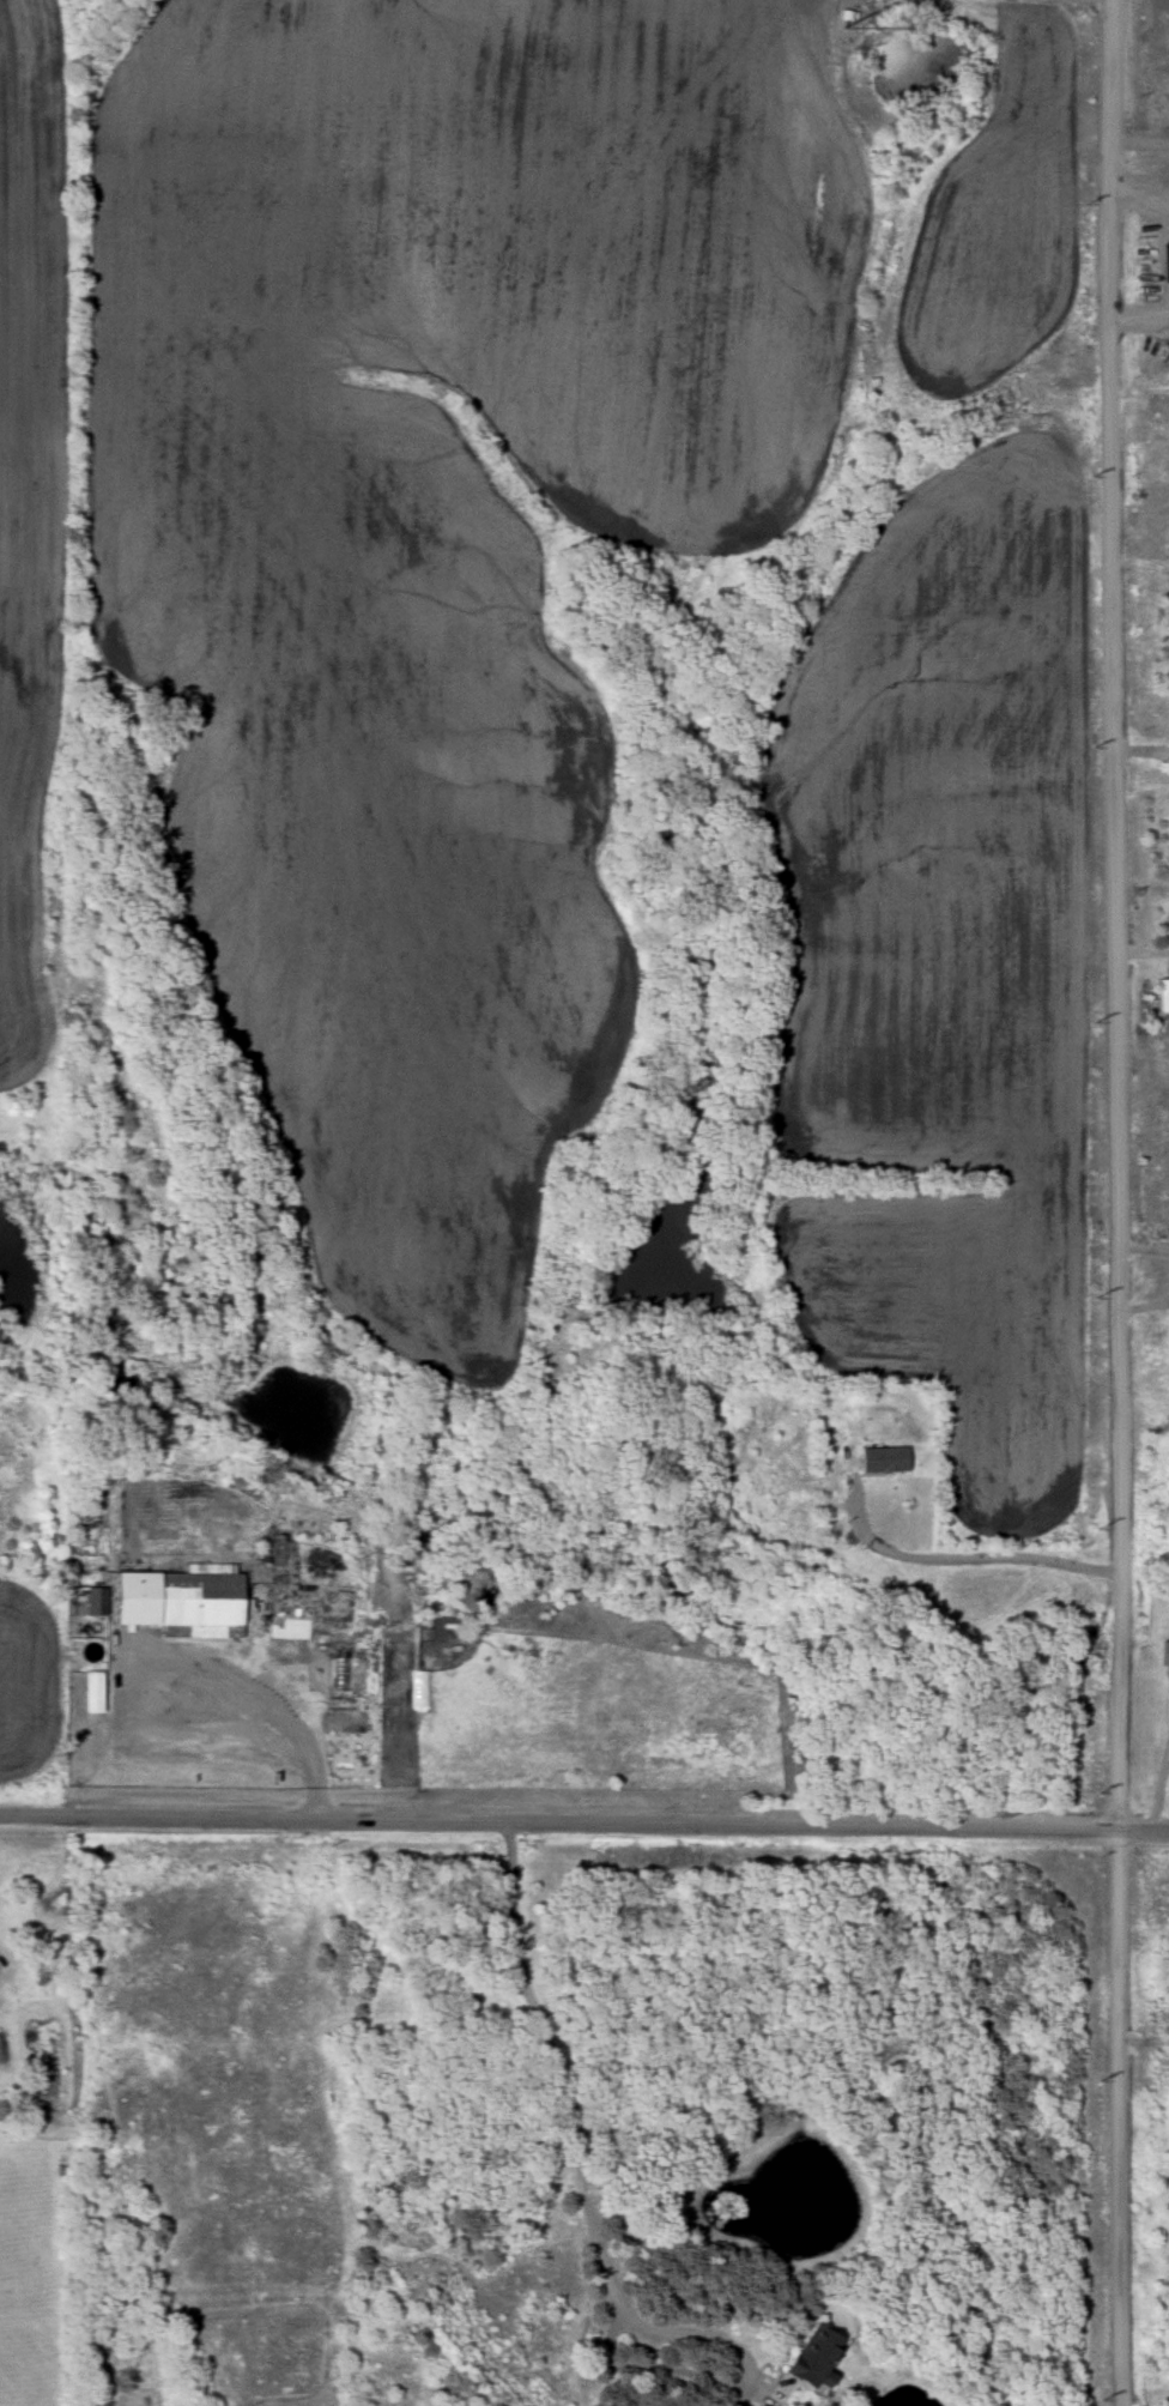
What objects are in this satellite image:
road: (846, 1)
road: (1156, 182)
road: (1127, 187)
road: (1156, 194)
crop: (29, 507)
road: (1141, 564)
road: (1144, 748)
road: (1123, 1202)
building: (882, 1461)
road: (1001, 1552)
building: (177, 1603)
crop: (28, 1680)
building: (92, 1695)
road: (236, 1727)
road: (1155, 1795)
road: (584, 1819)
road: (1144, 2038)
road: (568, 2063)
building: (808, 2362)
road: (744, 2376)

